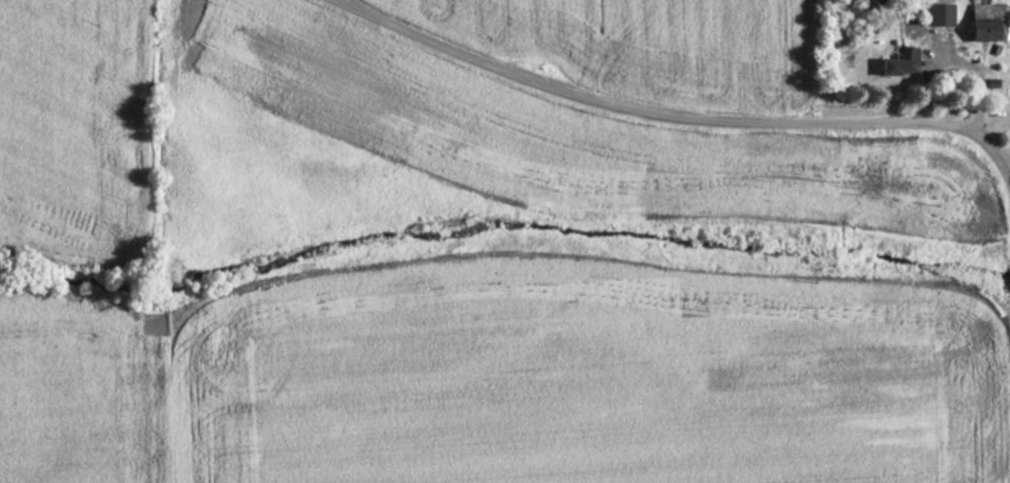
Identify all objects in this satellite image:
building: (936, 14)
building: (982, 21)
building: (896, 65)
road: (674, 116)

